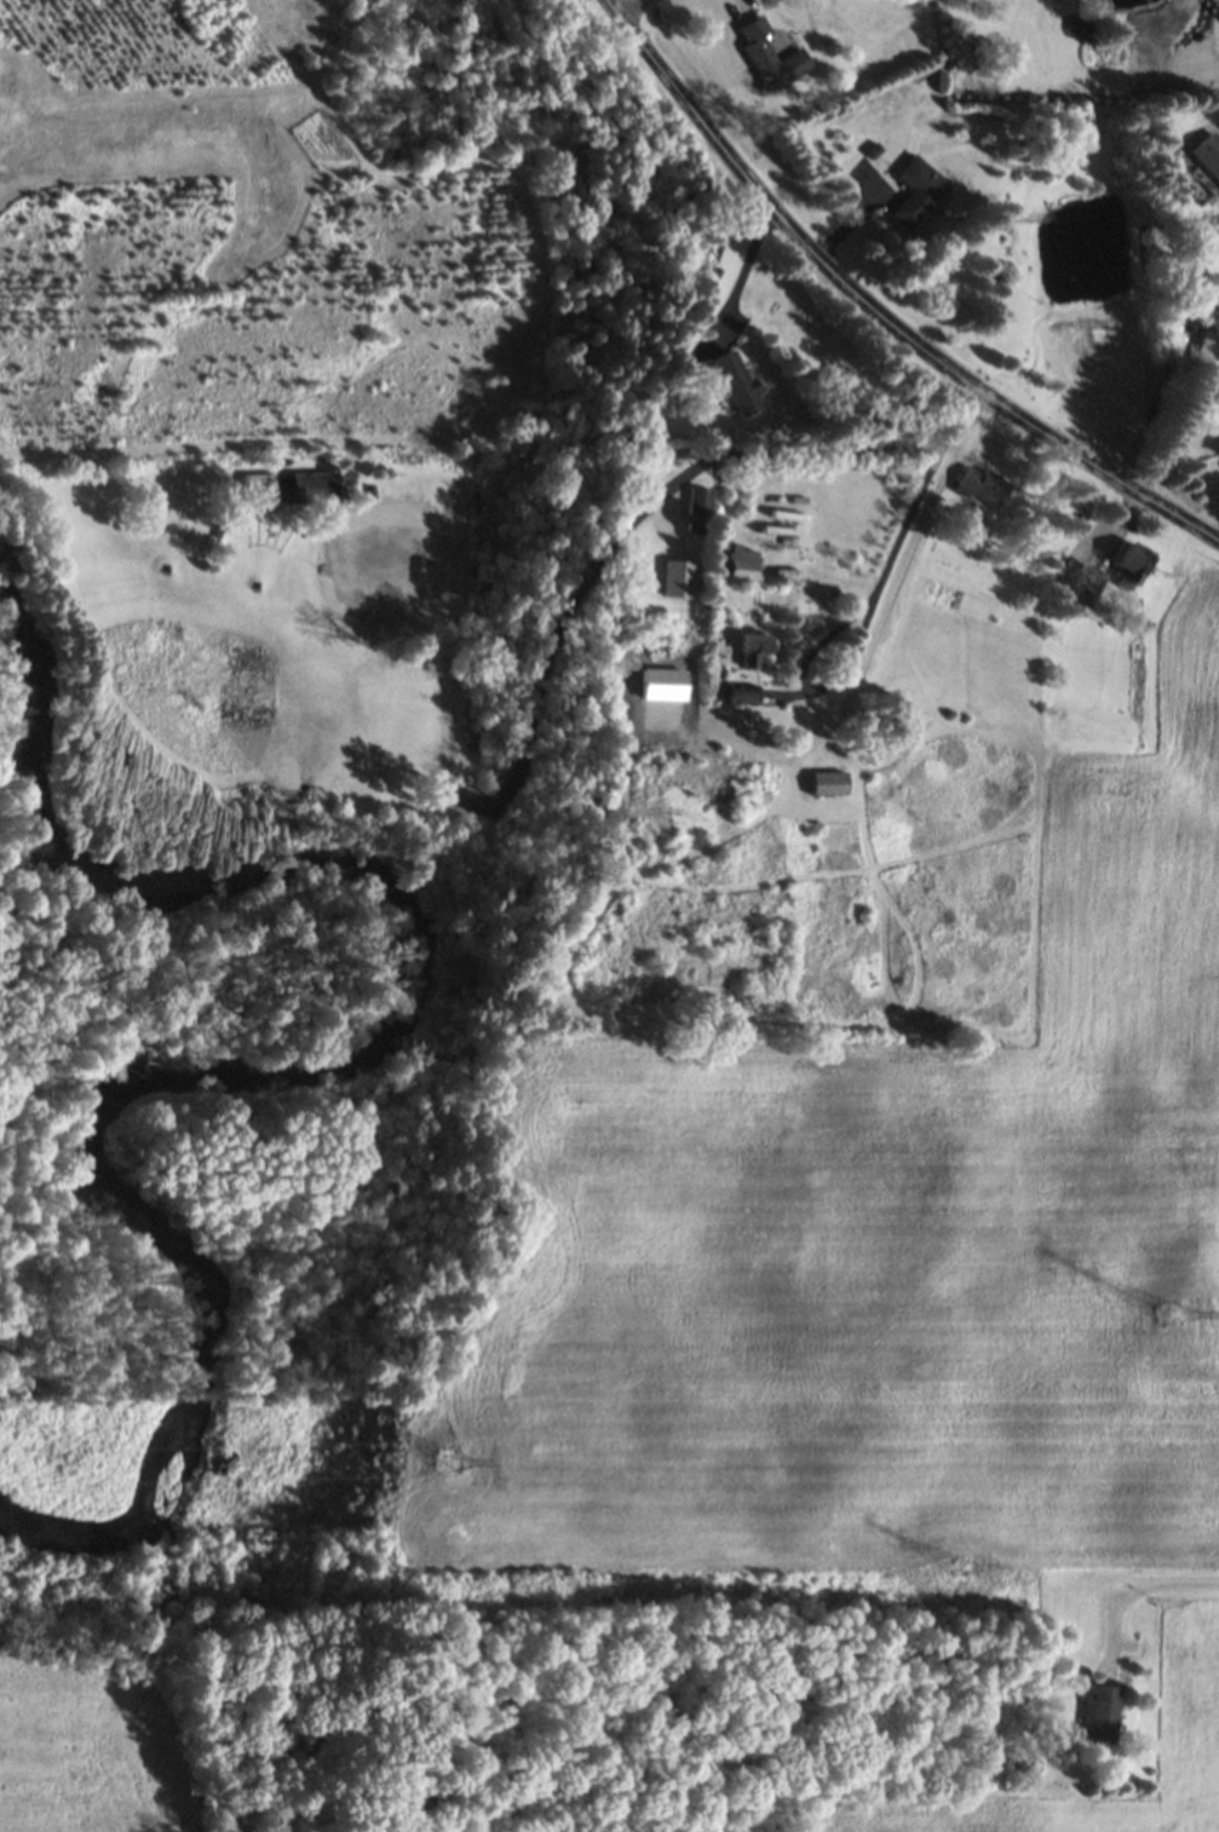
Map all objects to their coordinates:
building: (767, 57)
building: (1208, 155)
building: (919, 192)
road: (738, 277)
road: (876, 310)
building: (1208, 350)
building: (736, 382)
building: (1218, 454)
building: (310, 486)
building: (981, 488)
building: (702, 501)
building: (744, 563)
building: (1132, 564)
building: (1092, 581)
building: (751, 647)
building: (740, 693)
building: (827, 783)
river: (304, 851)
power tower: (1171, 1315)
river: (196, 1383)
power tower: (448, 1464)
power tower: (959, 1567)
power tower: (384, 1571)
road: (1138, 1594)

